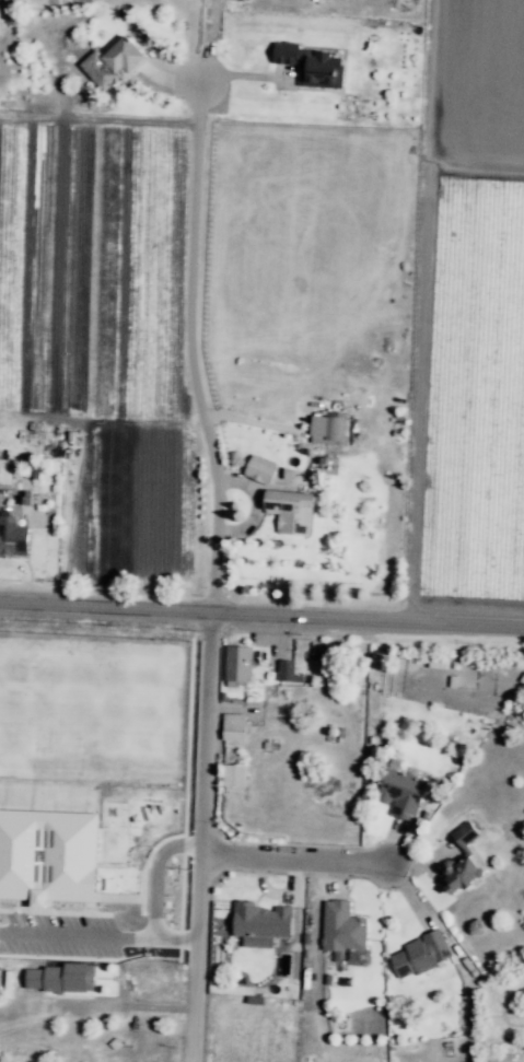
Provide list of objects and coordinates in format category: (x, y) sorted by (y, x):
building: (14, 2)
building: (286, 54)
building: (124, 57)
building: (325, 70)
crop: (475, 317)
crop: (102, 330)
road: (195, 353)
building: (338, 430)
building: (263, 469)
building: (4, 470)
building: (34, 471)
building: (27, 500)
building: (292, 514)
building: (15, 538)
road: (103, 609)
road: (365, 621)
building: (436, 662)
building: (236, 665)
building: (287, 674)
building: (233, 730)
building: (232, 774)
building: (403, 796)
building: (464, 835)
road: (197, 839)
building: (47, 855)
road: (289, 861)
building: (458, 864)
road: (154, 875)
building: (260, 921)
building: (343, 933)
road: (96, 936)
building: (420, 958)
building: (71, 975)

